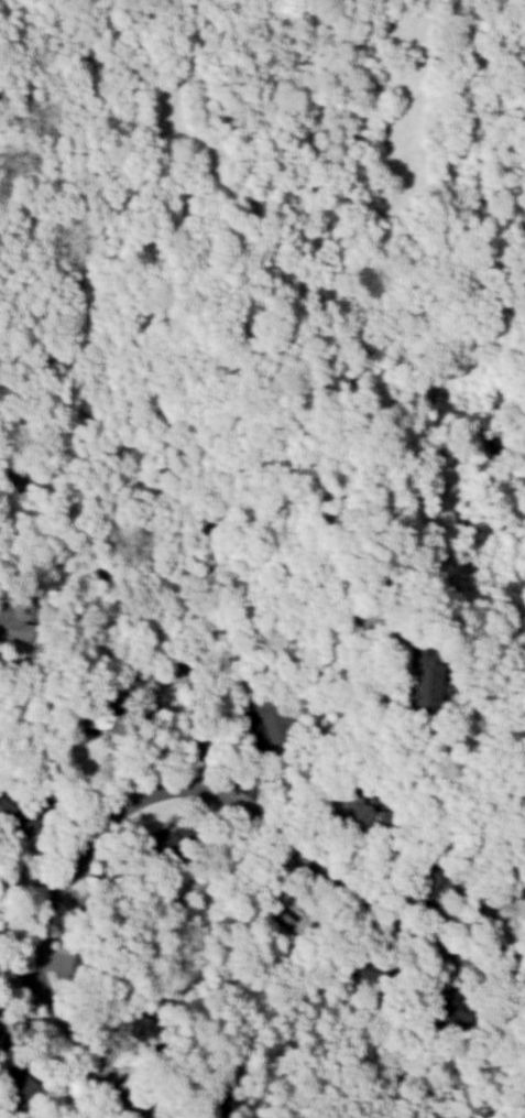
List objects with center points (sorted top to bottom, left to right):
road: (240, 521)
road: (3, 541)
road: (91, 565)
building: (13, 620)
road: (163, 675)
building: (422, 675)
building: (117, 718)
building: (274, 719)
road: (203, 724)
road: (157, 789)
building: (15, 811)
building: (364, 811)
building: (166, 845)
building: (434, 876)
building: (499, 892)
building: (292, 909)
building: (90, 953)
building: (368, 965)
building: (449, 1006)
building: (147, 1025)
building: (214, 1088)
building: (18, 1092)
building: (91, 1114)

